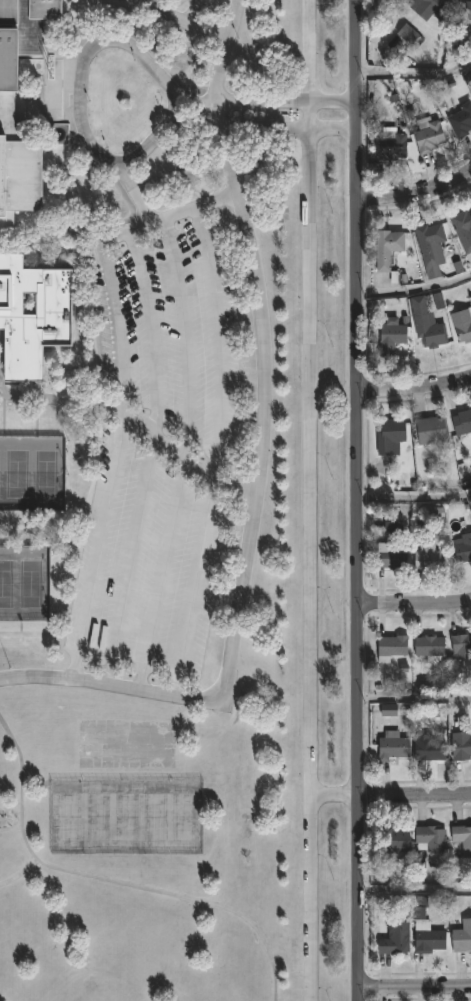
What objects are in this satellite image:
road: (157, 5)
building: (431, 6)
parking lot: (186, 12)
road: (187, 12)
building: (465, 15)
road: (180, 22)
building: (409, 35)
road: (357, 50)
road: (309, 65)
road: (414, 74)
road: (81, 91)
road: (263, 97)
building: (7, 107)
road: (165, 108)
building: (460, 120)
road: (235, 125)
road: (333, 131)
building: (427, 136)
building: (388, 146)
road: (133, 189)
road: (415, 196)
road: (174, 213)
building: (462, 228)
building: (428, 246)
building: (386, 250)
road: (415, 287)
building: (32, 317)
building: (425, 324)
building: (462, 324)
building: (389, 336)
road: (414, 387)
building: (461, 421)
road: (139, 427)
building: (429, 430)
building: (390, 435)
road: (219, 451)
parking lot: (161, 455)
road: (113, 461)
road: (266, 461)
park: (16, 475)
park: (45, 476)
road: (415, 504)
building: (393, 523)
road: (26, 526)
building: (462, 547)
road: (359, 551)
building: (427, 556)
building: (389, 558)
road: (311, 565)
park: (6, 586)
park: (30, 586)
road: (414, 602)
building: (391, 644)
building: (461, 644)
building: (427, 645)
road: (140, 658)
road: (142, 675)
road: (414, 699)
building: (461, 744)
building: (392, 745)
building: (428, 749)
road: (392, 795)
park: (156, 814)
park: (65, 815)
park: (126, 815)
park: (187, 815)
park: (96, 816)
building: (430, 837)
building: (462, 838)
building: (390, 841)
road: (19, 872)
road: (112, 881)
road: (414, 890)
building: (461, 936)
building: (394, 938)
building: (426, 938)
road: (414, 988)
park: (94, 989)

